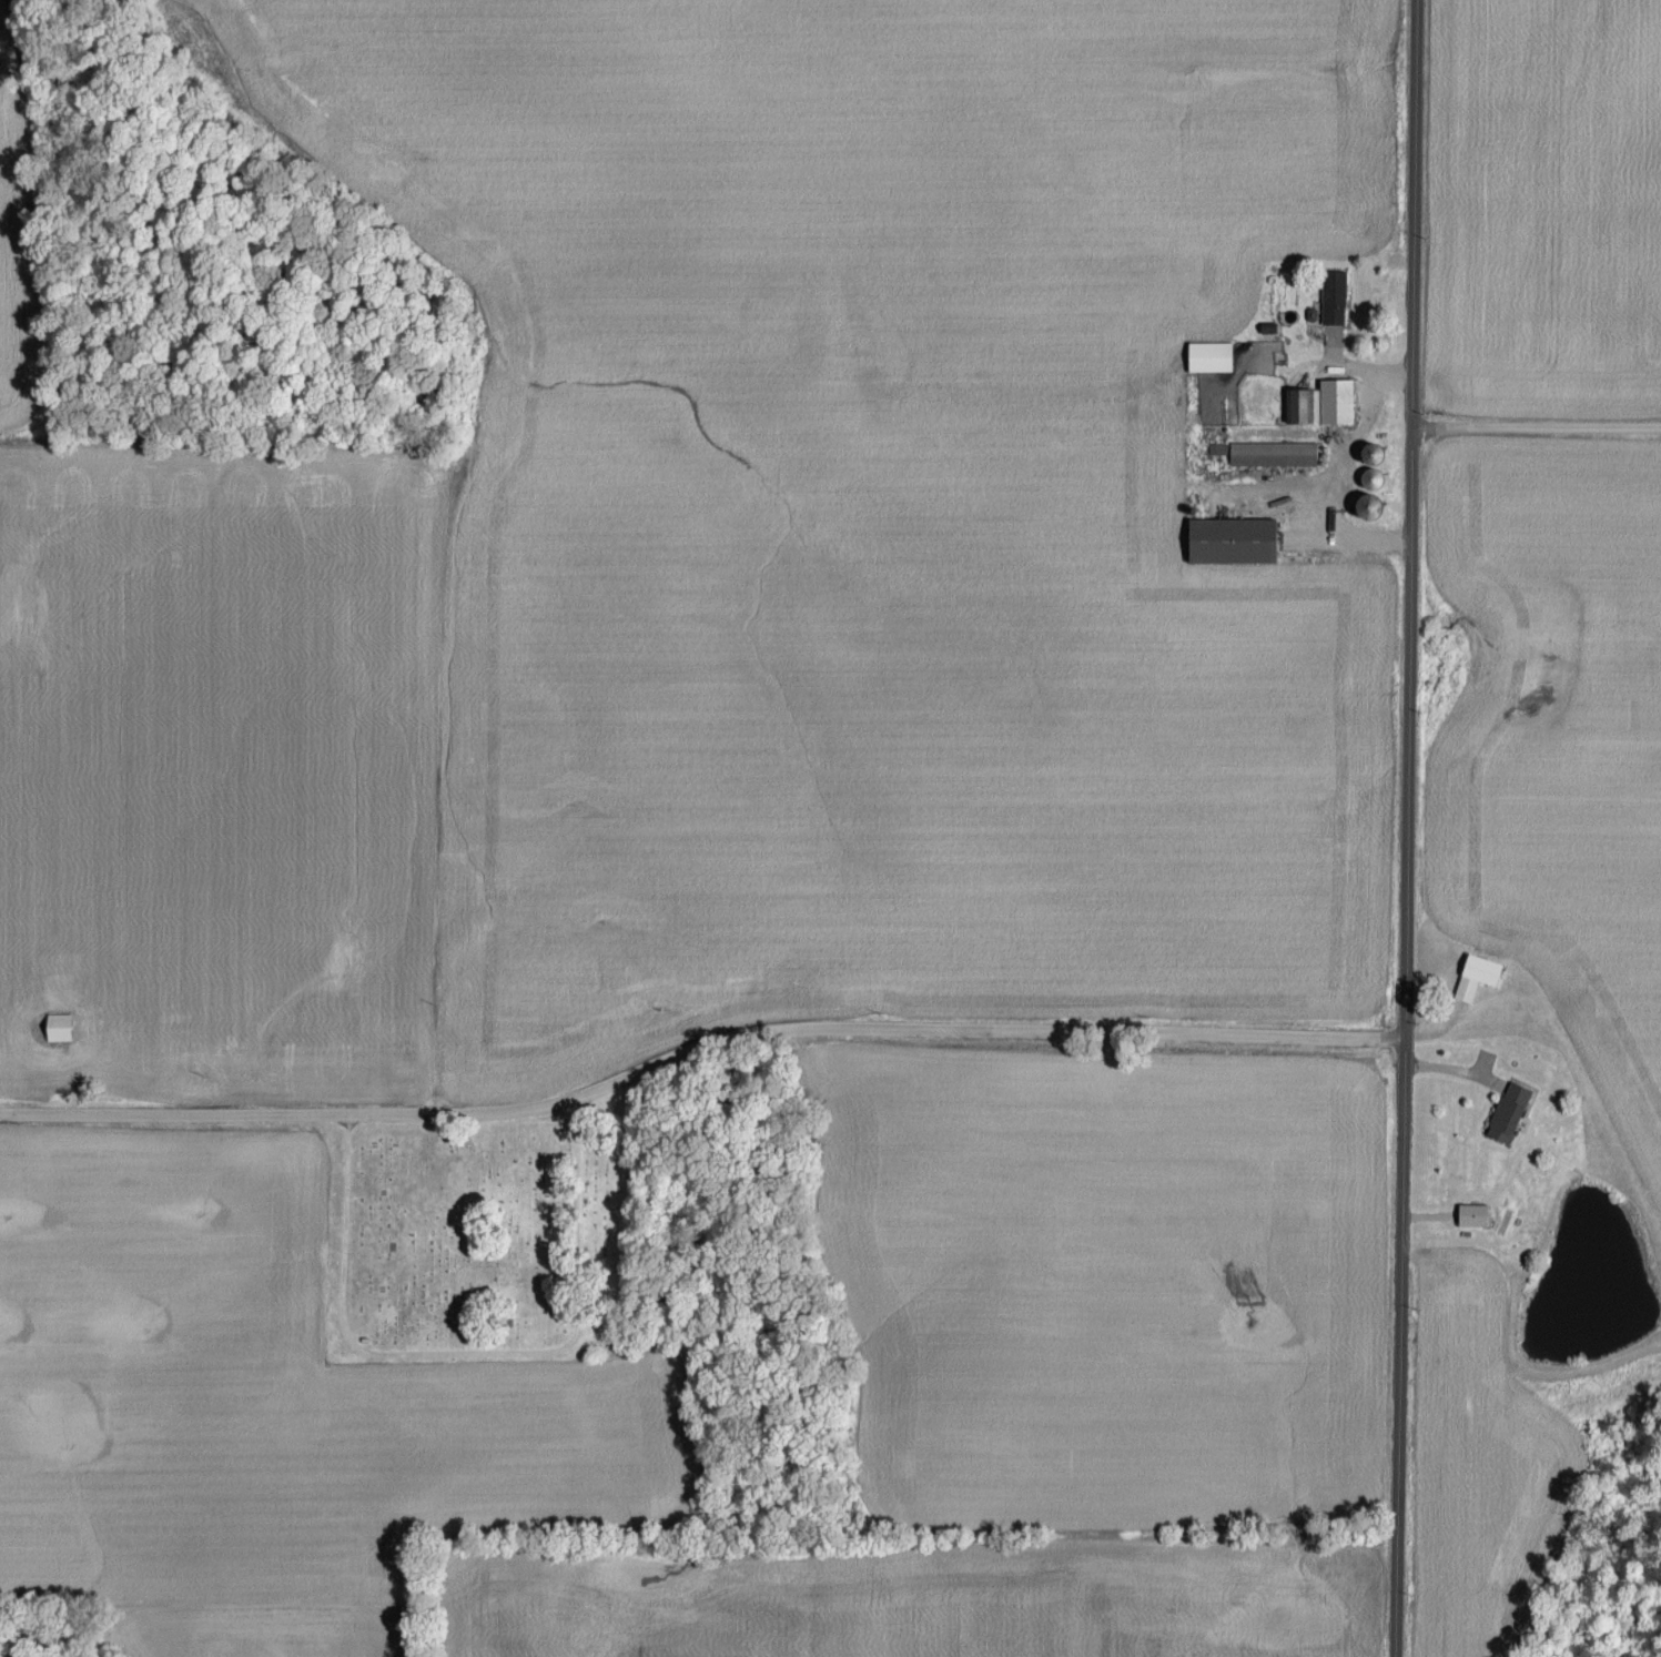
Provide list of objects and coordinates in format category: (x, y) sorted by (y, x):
building: (1331, 300)
building: (1208, 360)
road: (1374, 374)
building: (1319, 406)
road: (1537, 426)
road: (1343, 436)
building: (1272, 456)
building: (1228, 543)
road: (1400, 828)
building: (1475, 979)
building: (57, 1030)
road: (697, 1048)
building: (1505, 1121)

